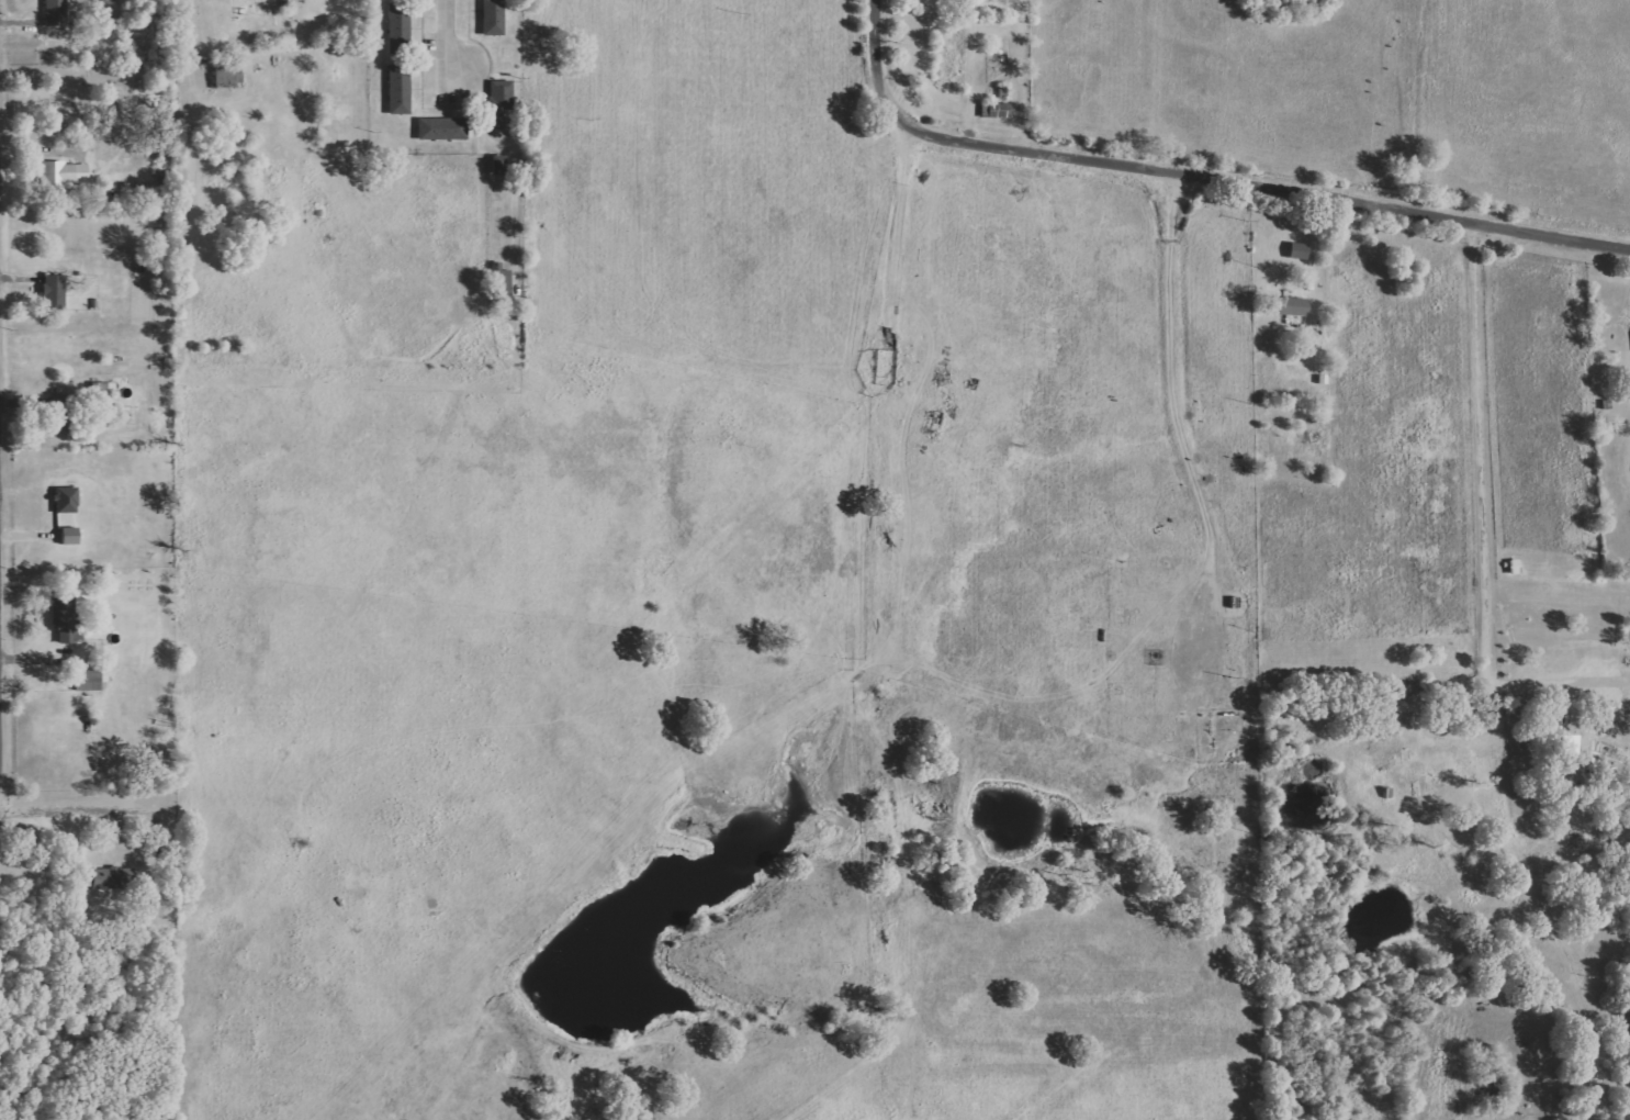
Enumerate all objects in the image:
building: (57, 12)
building: (494, 16)
building: (401, 24)
road: (447, 43)
building: (228, 71)
building: (401, 89)
building: (499, 102)
building: (997, 110)
building: (443, 128)
building: (498, 165)
road: (1201, 173)
building: (64, 177)
road: (885, 231)
building: (55, 292)
building: (1292, 306)
road: (1173, 373)
building: (67, 500)
building: (70, 536)
road: (3, 563)
building: (63, 611)
building: (91, 677)
road: (1484, 679)
road: (1556, 681)
road: (56, 806)
building: (109, 877)
building: (87, 878)

